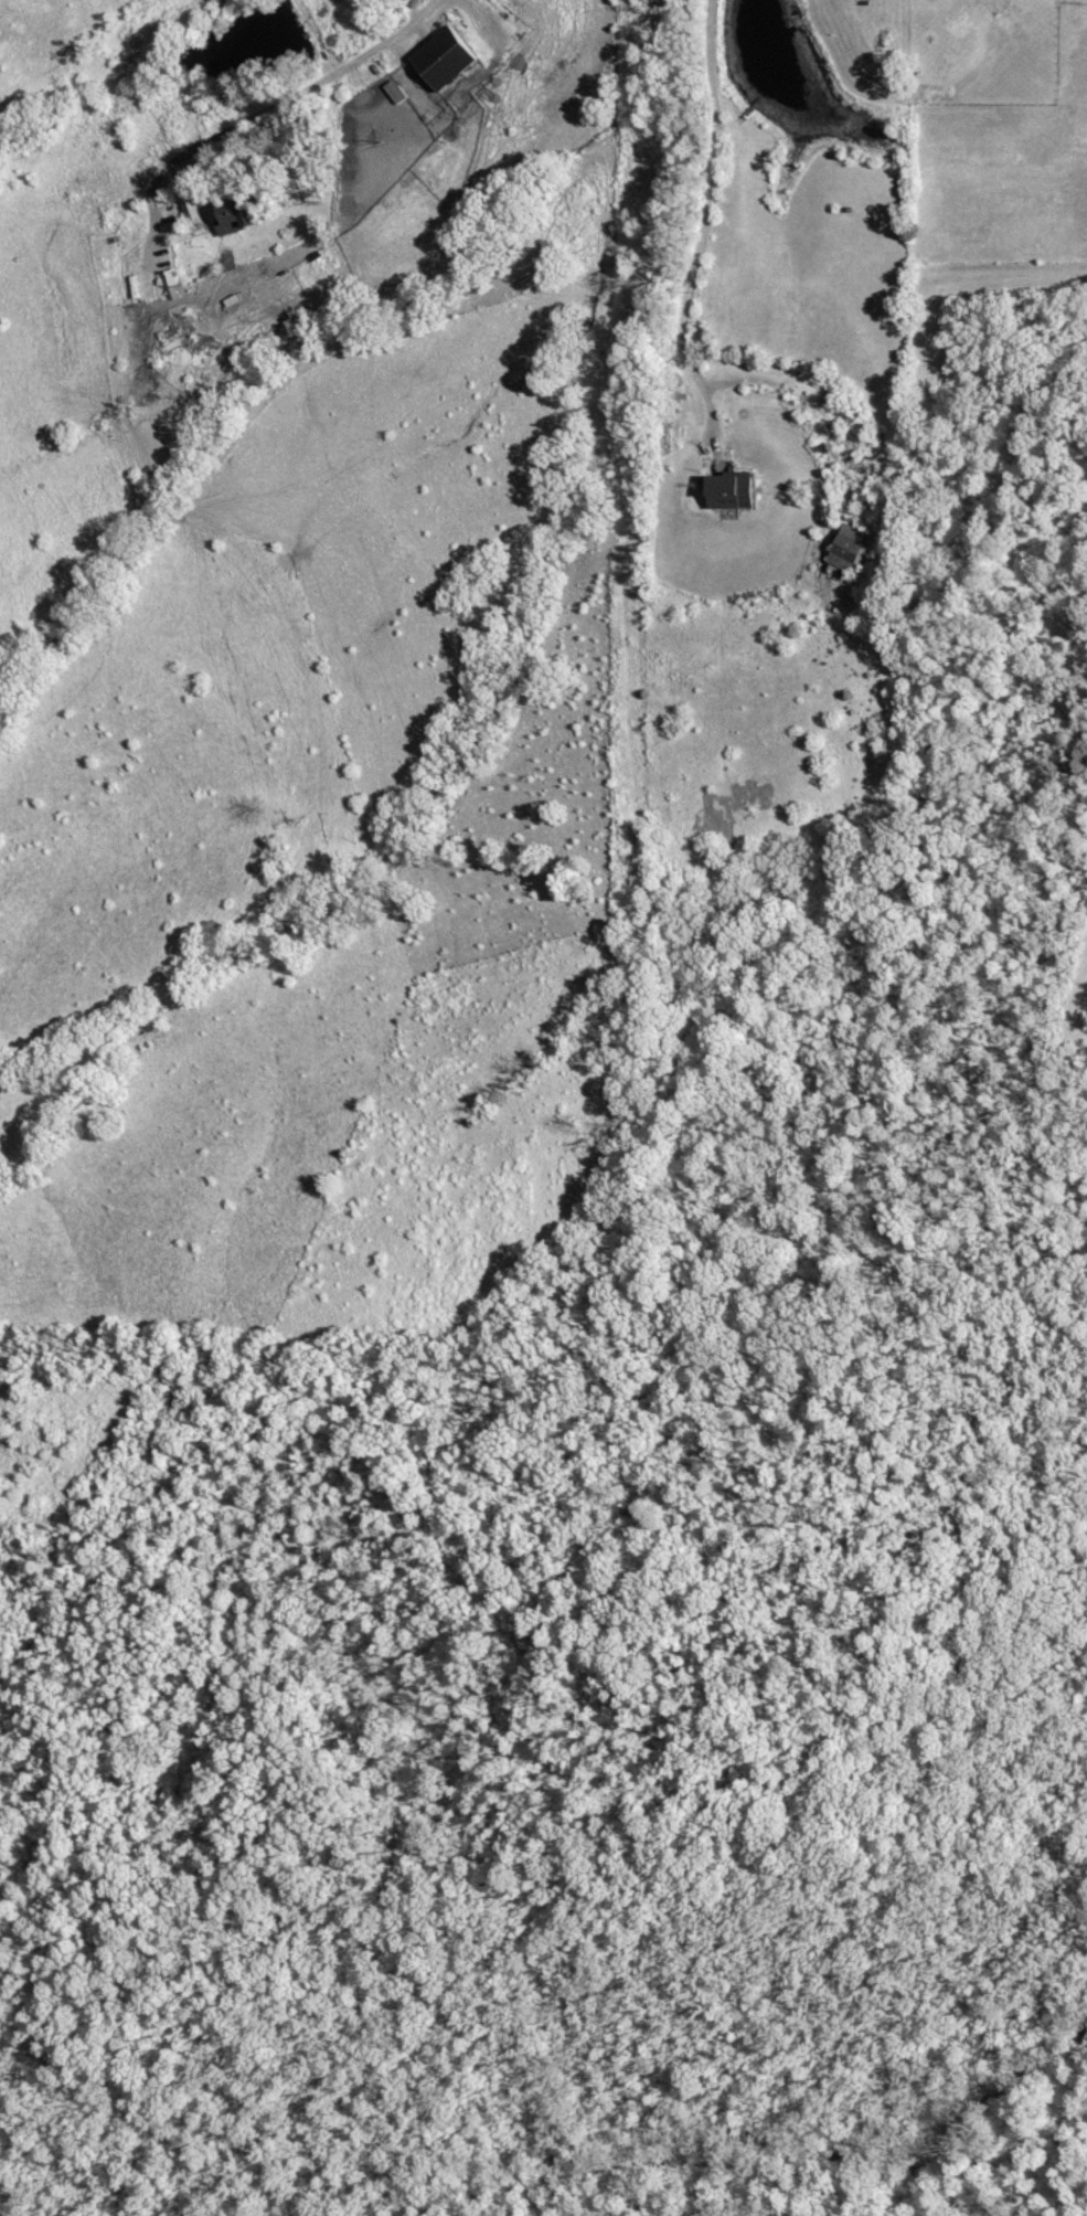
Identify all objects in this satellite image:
building: (452, 56)
road: (231, 127)
building: (247, 215)
road: (701, 231)
building: (174, 283)
building: (739, 491)
building: (857, 548)

